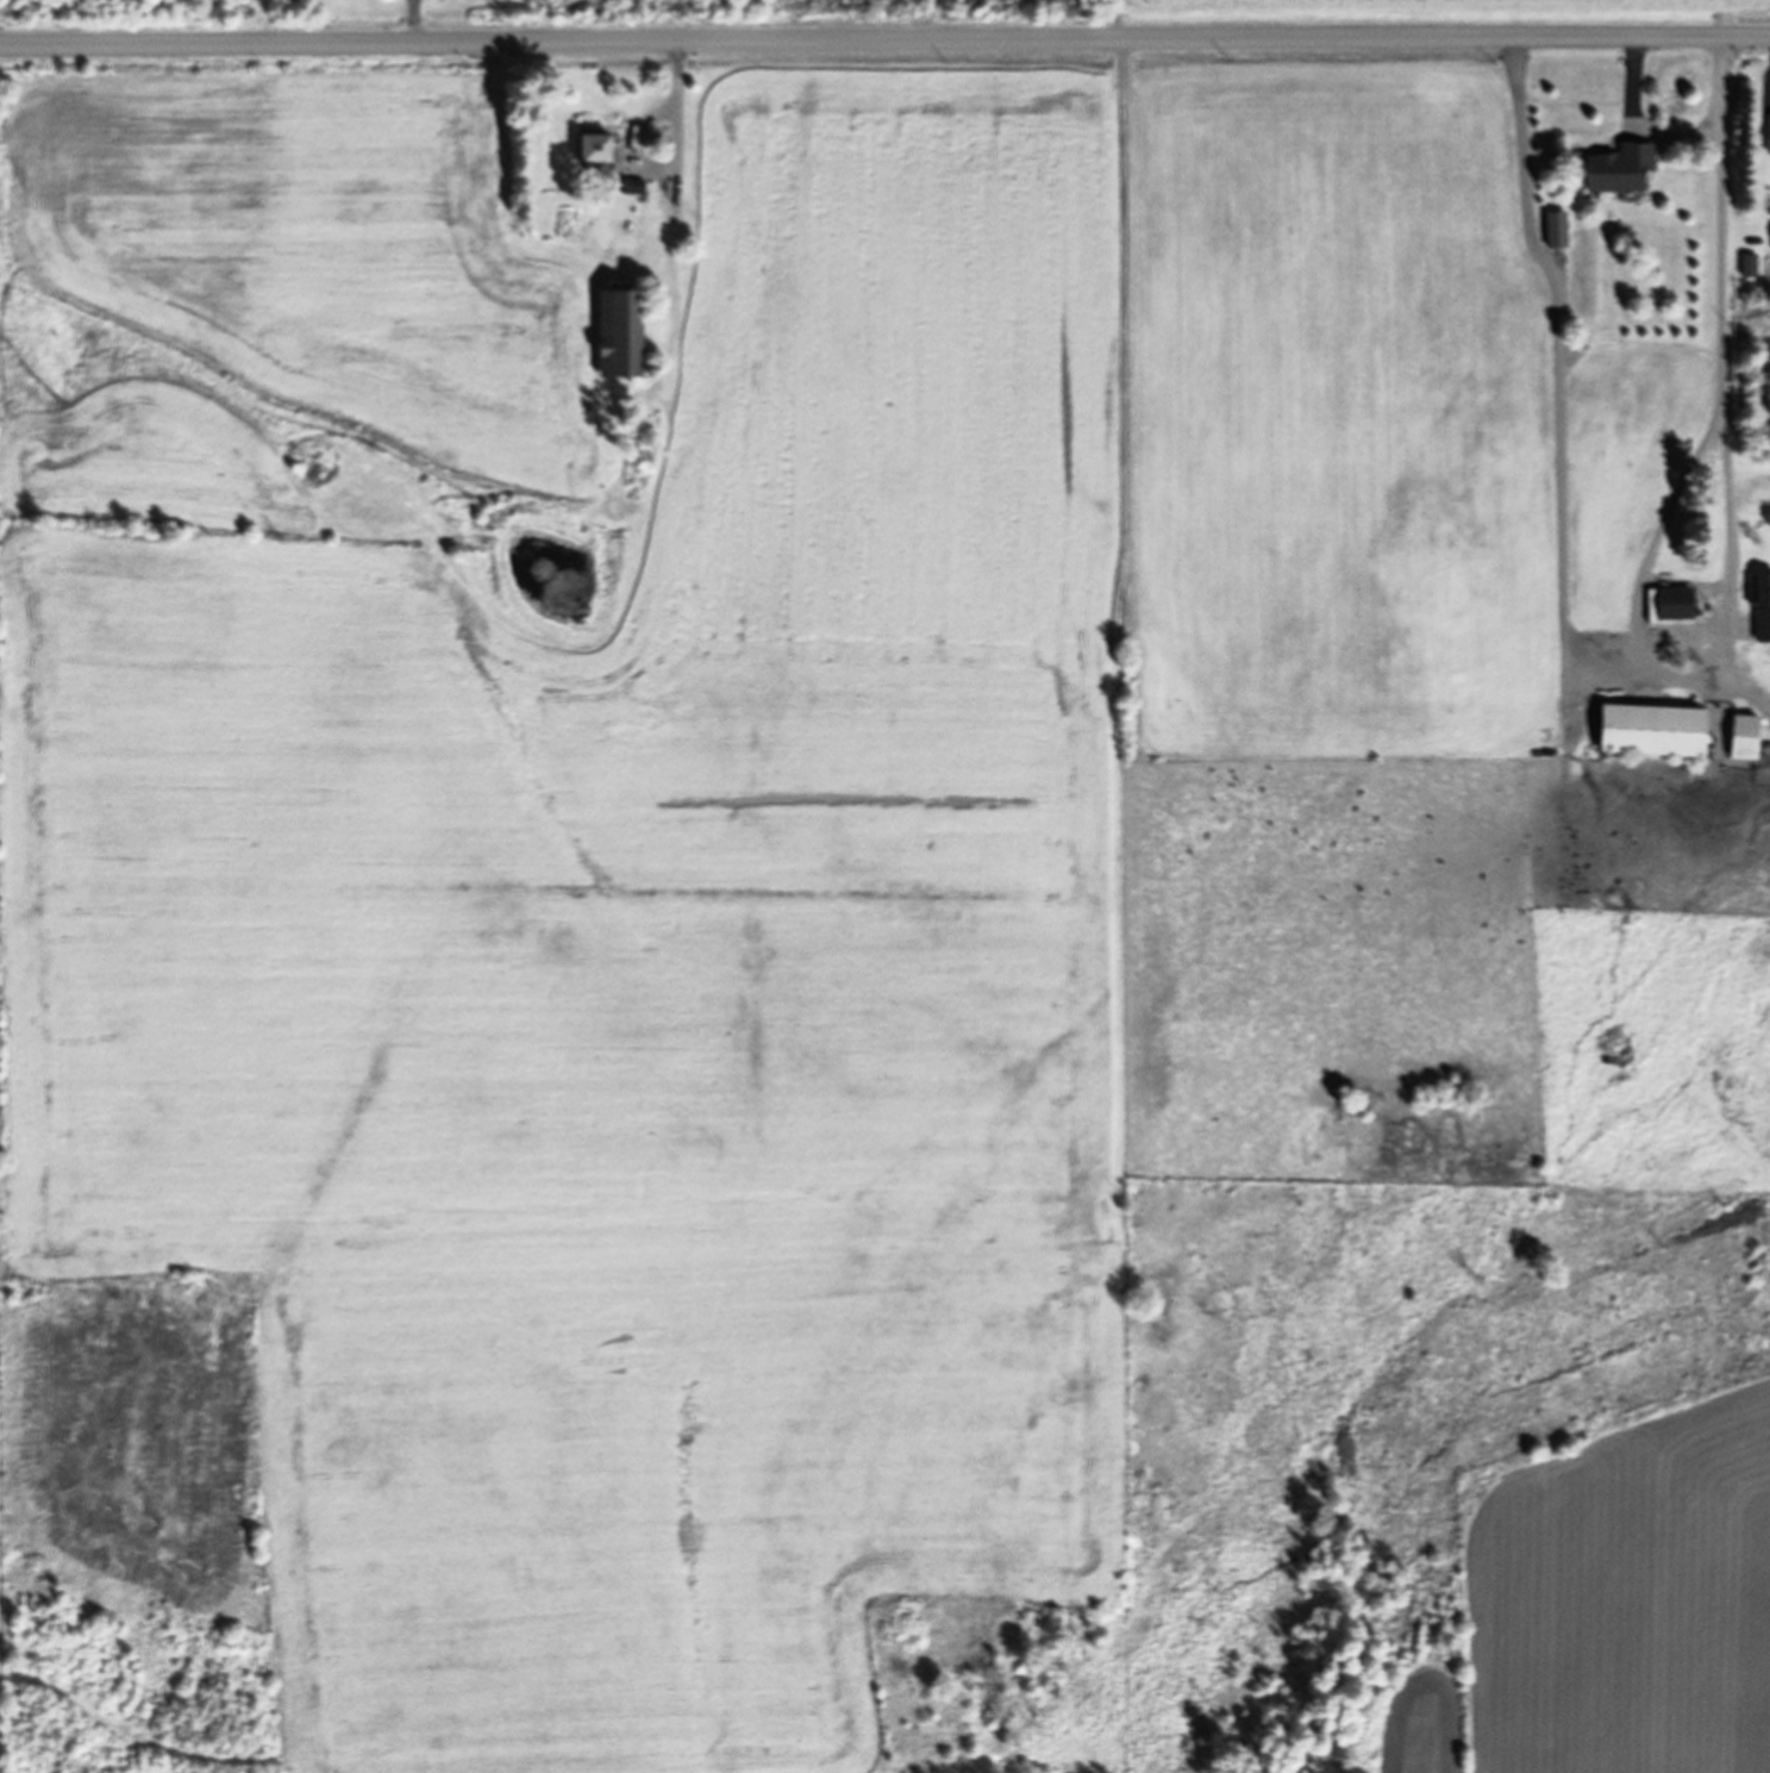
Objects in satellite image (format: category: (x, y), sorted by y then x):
road: (884, 37)
building: (1766, 132)
building: (589, 146)
building: (1615, 167)
building: (628, 186)
building: (1552, 229)
building: (1746, 264)
building: (614, 332)
building: (1757, 588)
building: (1670, 603)
building: (1760, 624)
building: (1645, 730)
building: (1738, 736)
quarry: (947, 1761)

